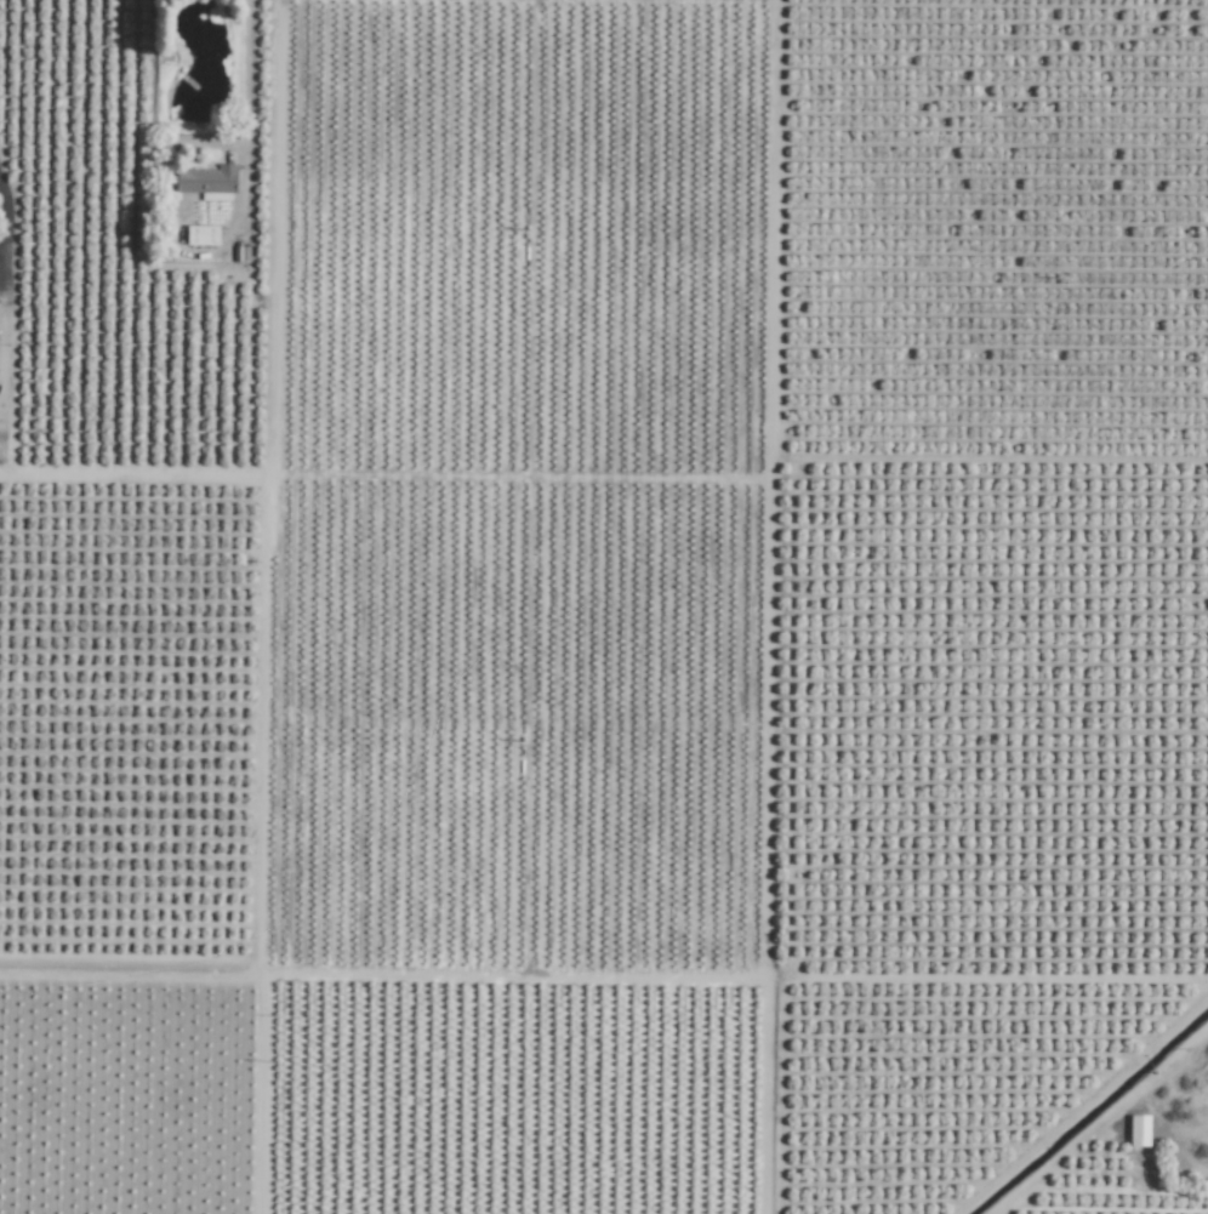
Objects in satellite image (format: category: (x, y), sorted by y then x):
building: (207, 182)
road: (5, 234)
building: (201, 235)
building: (2, 440)
crop: (546, 490)
building: (1139, 1130)

